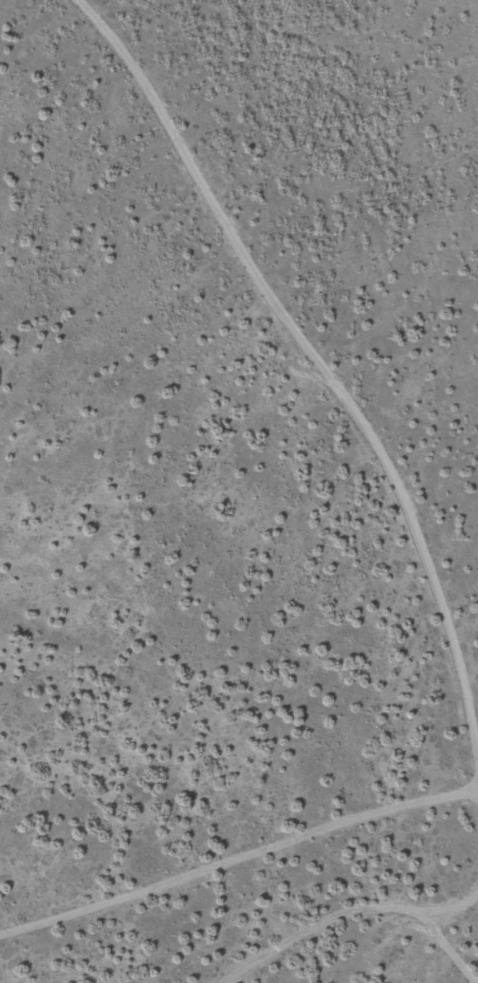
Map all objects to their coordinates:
road: (302, 352)
road: (239, 889)
road: (341, 946)

